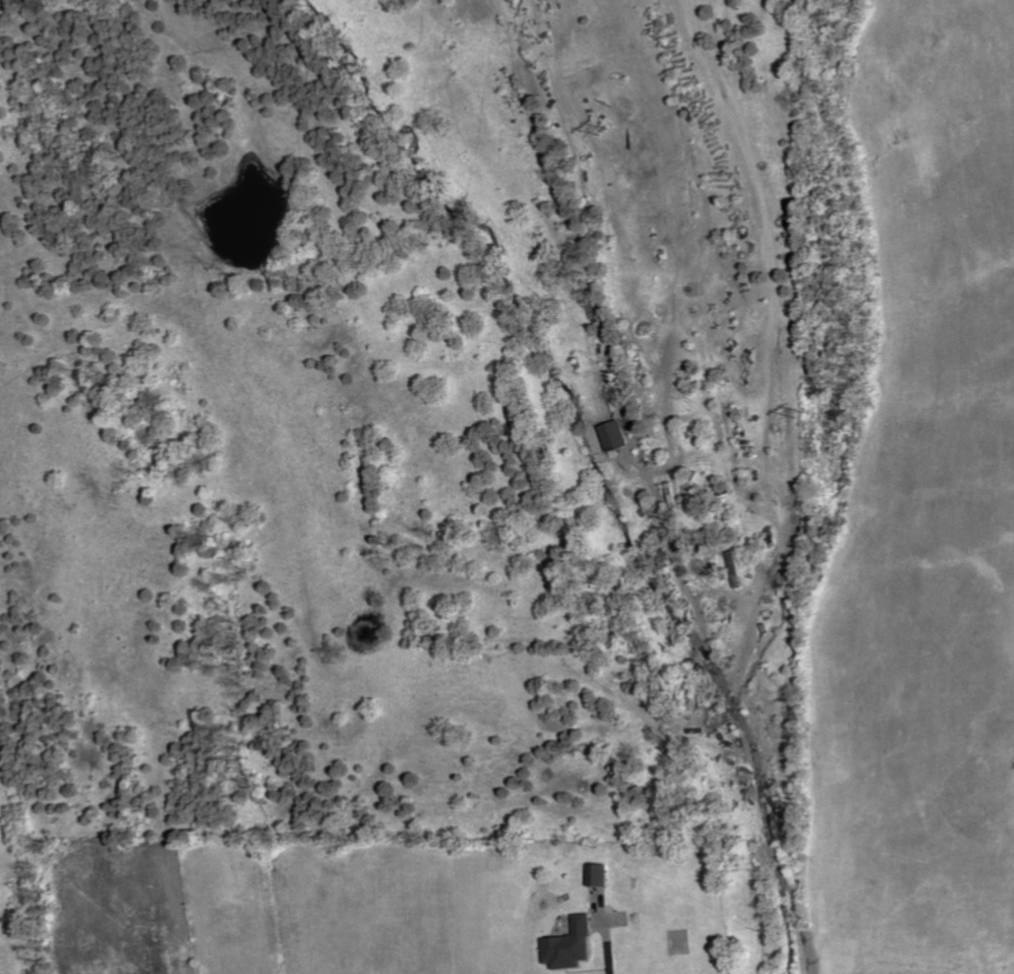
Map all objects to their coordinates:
building: (617, 436)
building: (599, 876)
road: (785, 919)
road: (606, 944)
building: (571, 946)

